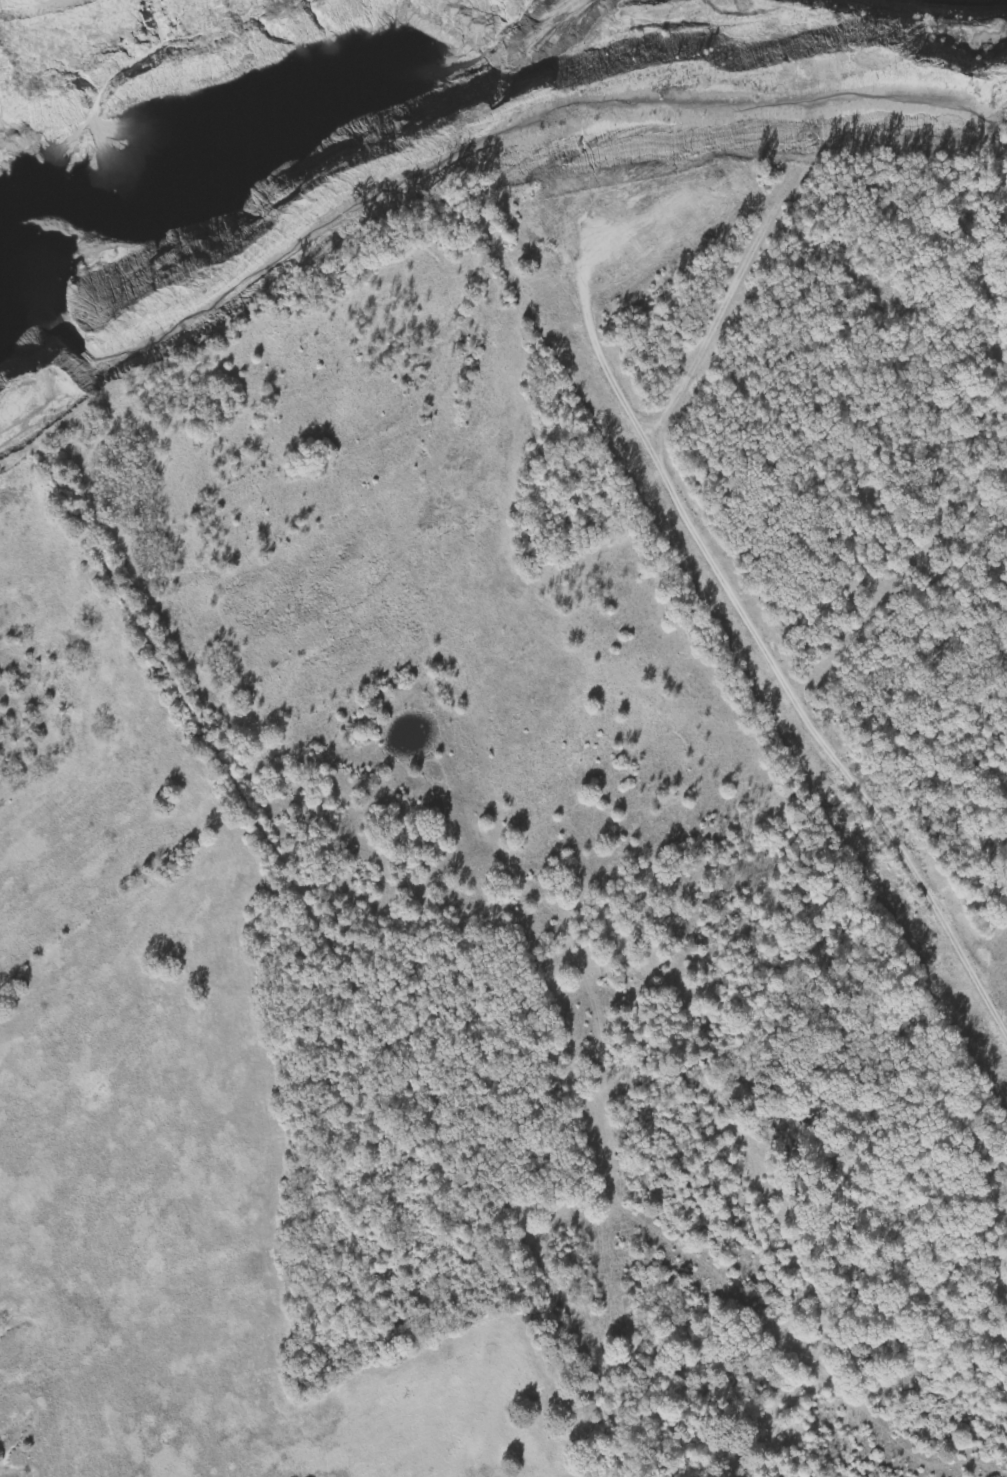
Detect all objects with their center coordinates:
quarry: (152, 164)
road: (345, 967)

